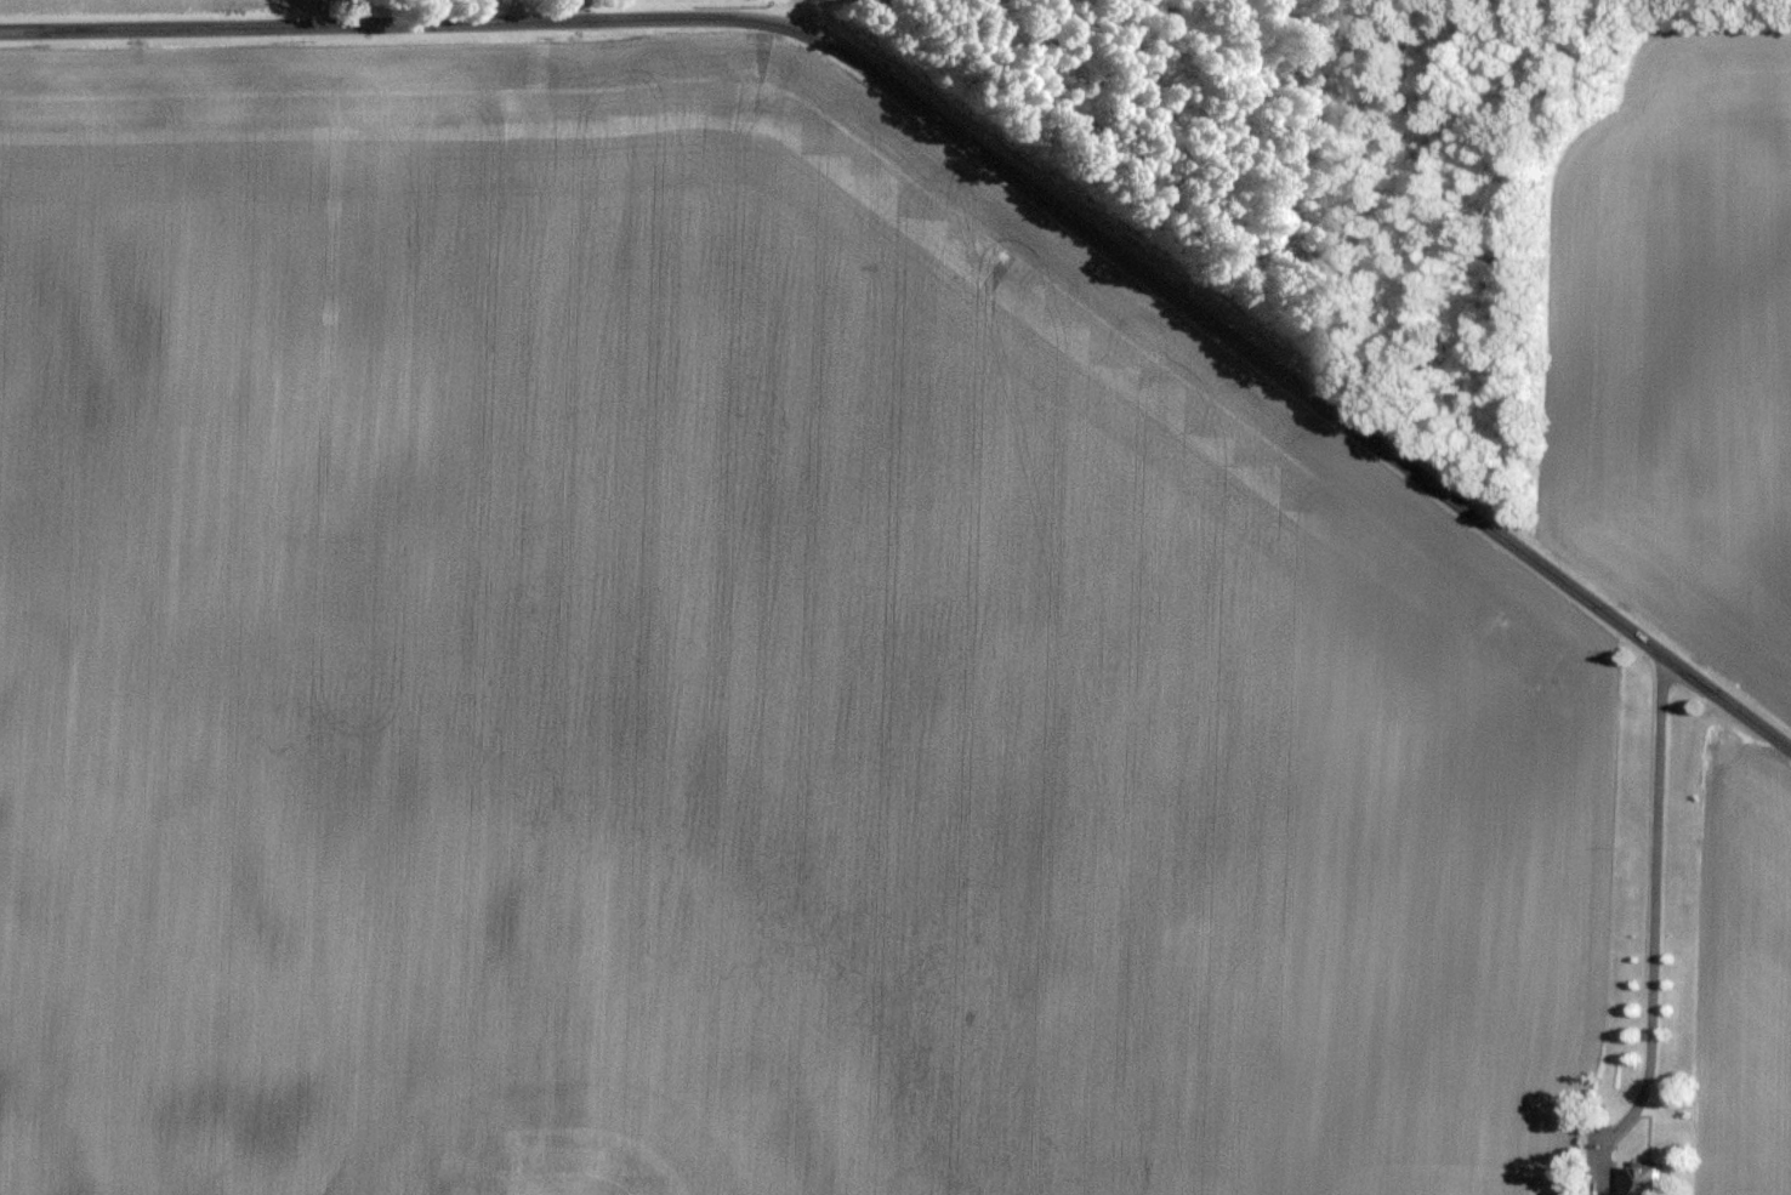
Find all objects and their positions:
road: (974, 149)
road: (1651, 907)
building: (1649, 1177)
building: (1611, 1194)

